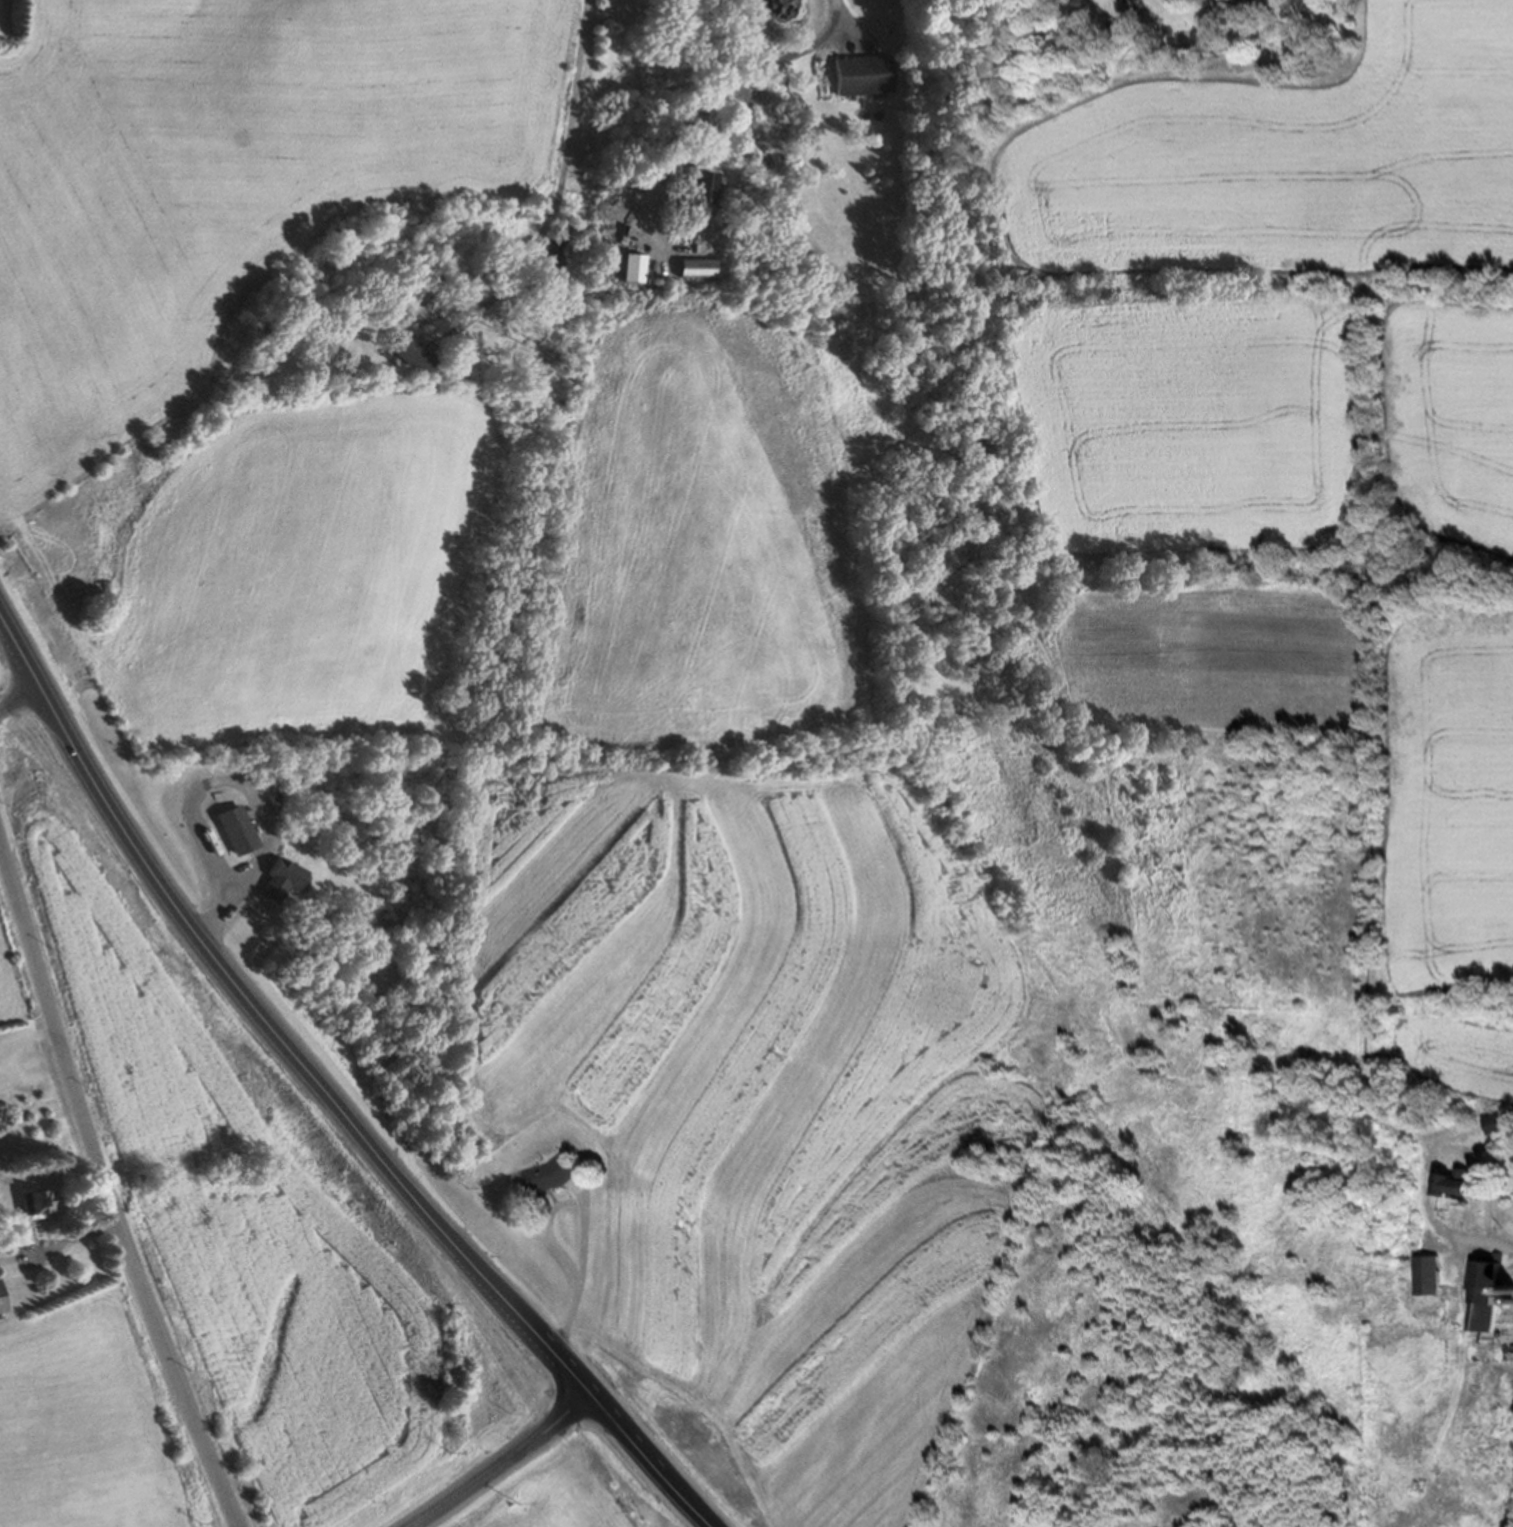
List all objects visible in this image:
road: (1365, 28)
building: (864, 73)
road: (711, 90)
road: (558, 188)
building: (698, 189)
building: (634, 266)
building: (413, 347)
road: (19, 694)
road: (1, 706)
road: (251, 786)
building: (238, 829)
building: (283, 876)
road: (324, 1097)
building: (1499, 1123)
building: (551, 1174)
building: (1458, 1180)
road: (107, 1191)
building: (39, 1201)
road: (588, 1217)
building: (19, 1234)
road: (59, 1242)
building: (1432, 1271)
building: (1493, 1295)
building: (2, 1300)
road: (501, 1462)

